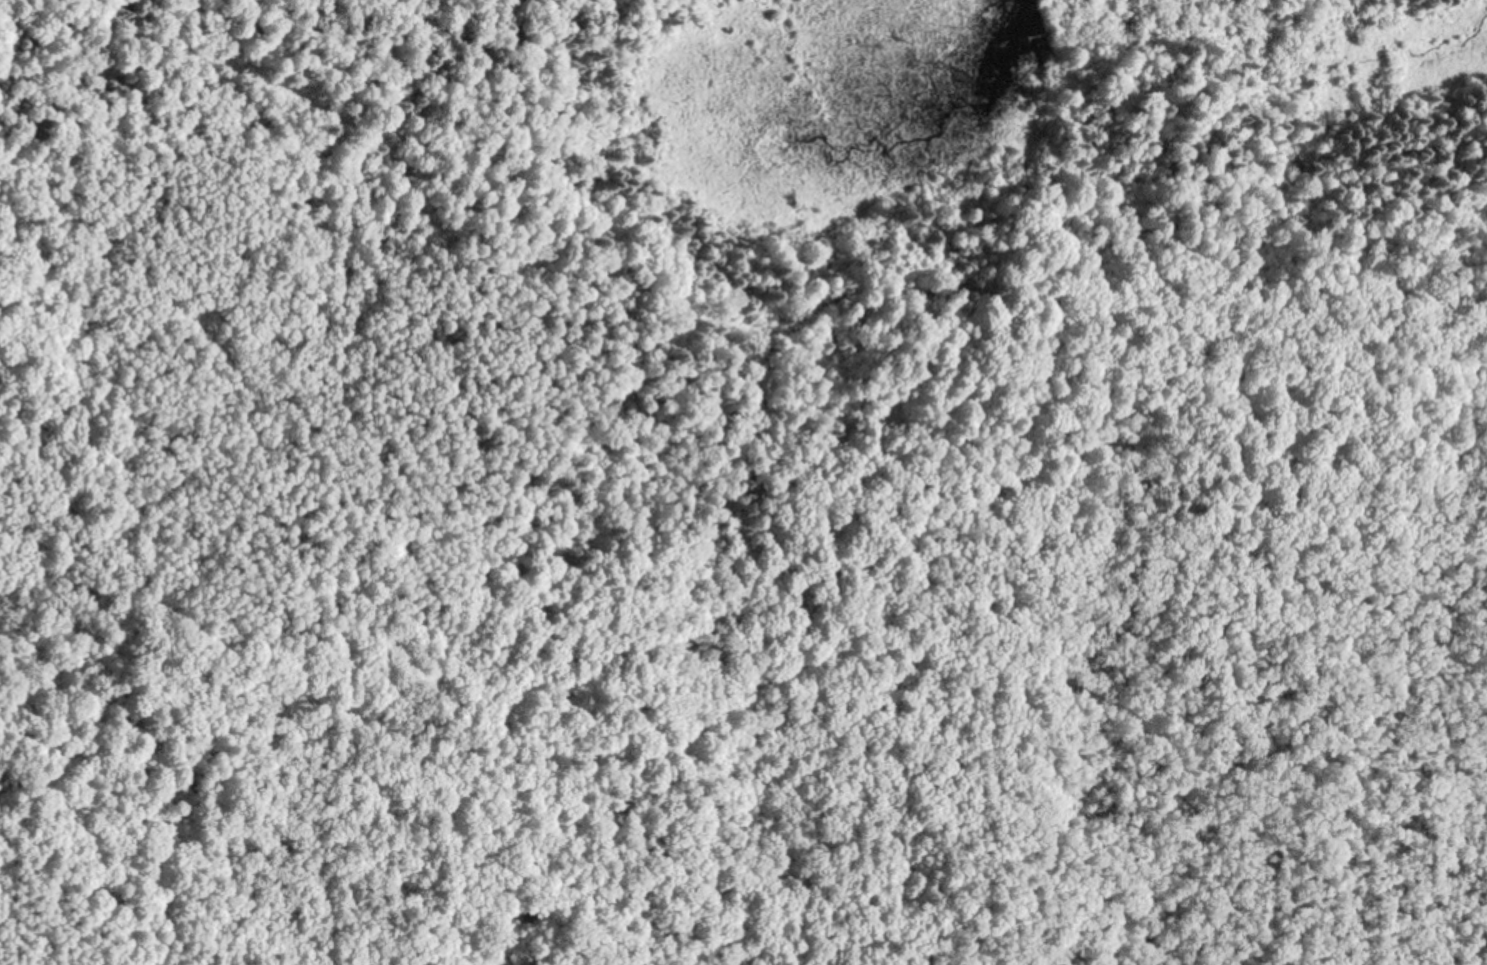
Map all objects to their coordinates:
road: (676, 728)

